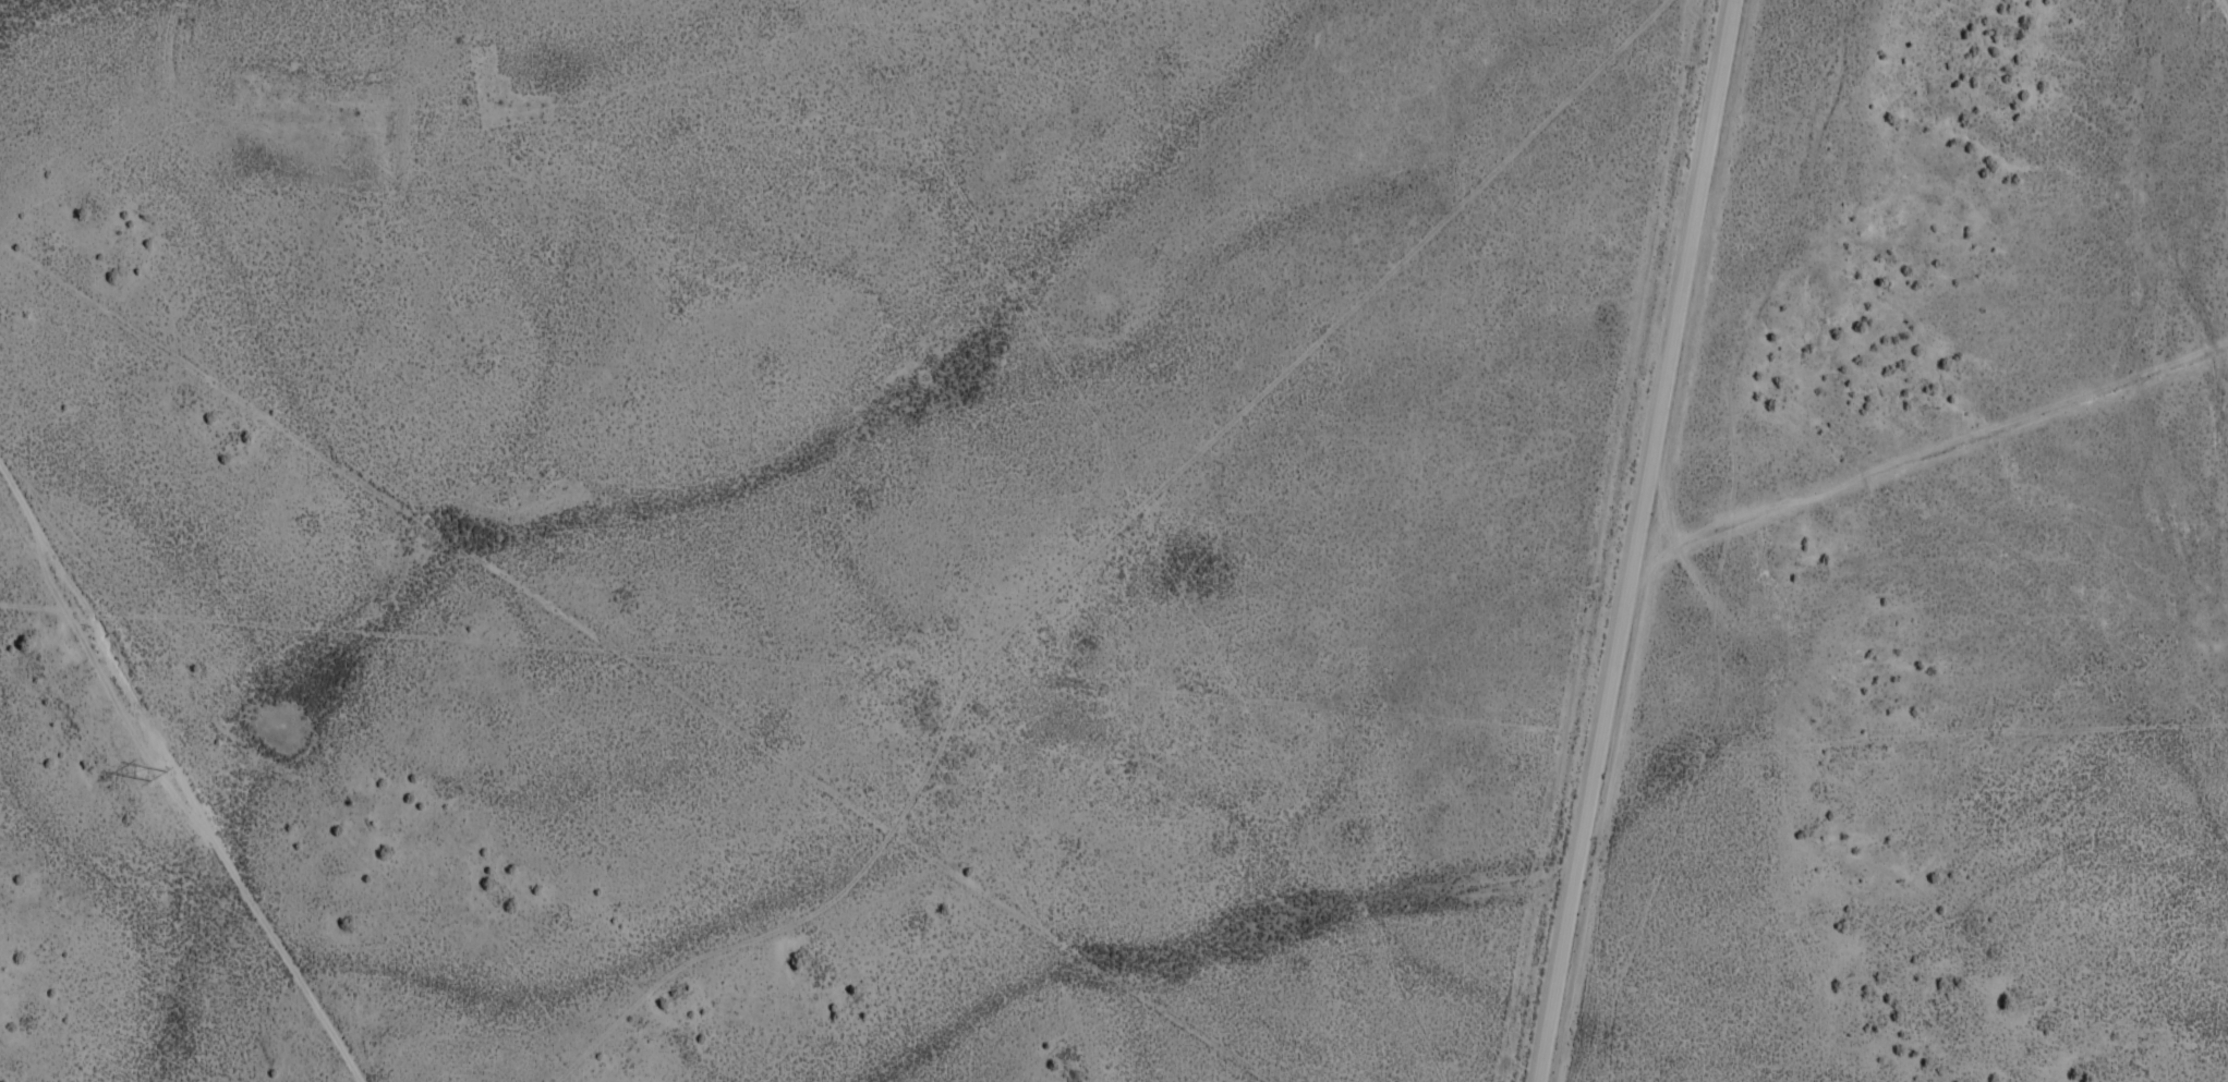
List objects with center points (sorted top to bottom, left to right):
road: (2223, 8)
road: (1628, 540)
road: (1371, 627)
power tower: (150, 774)

